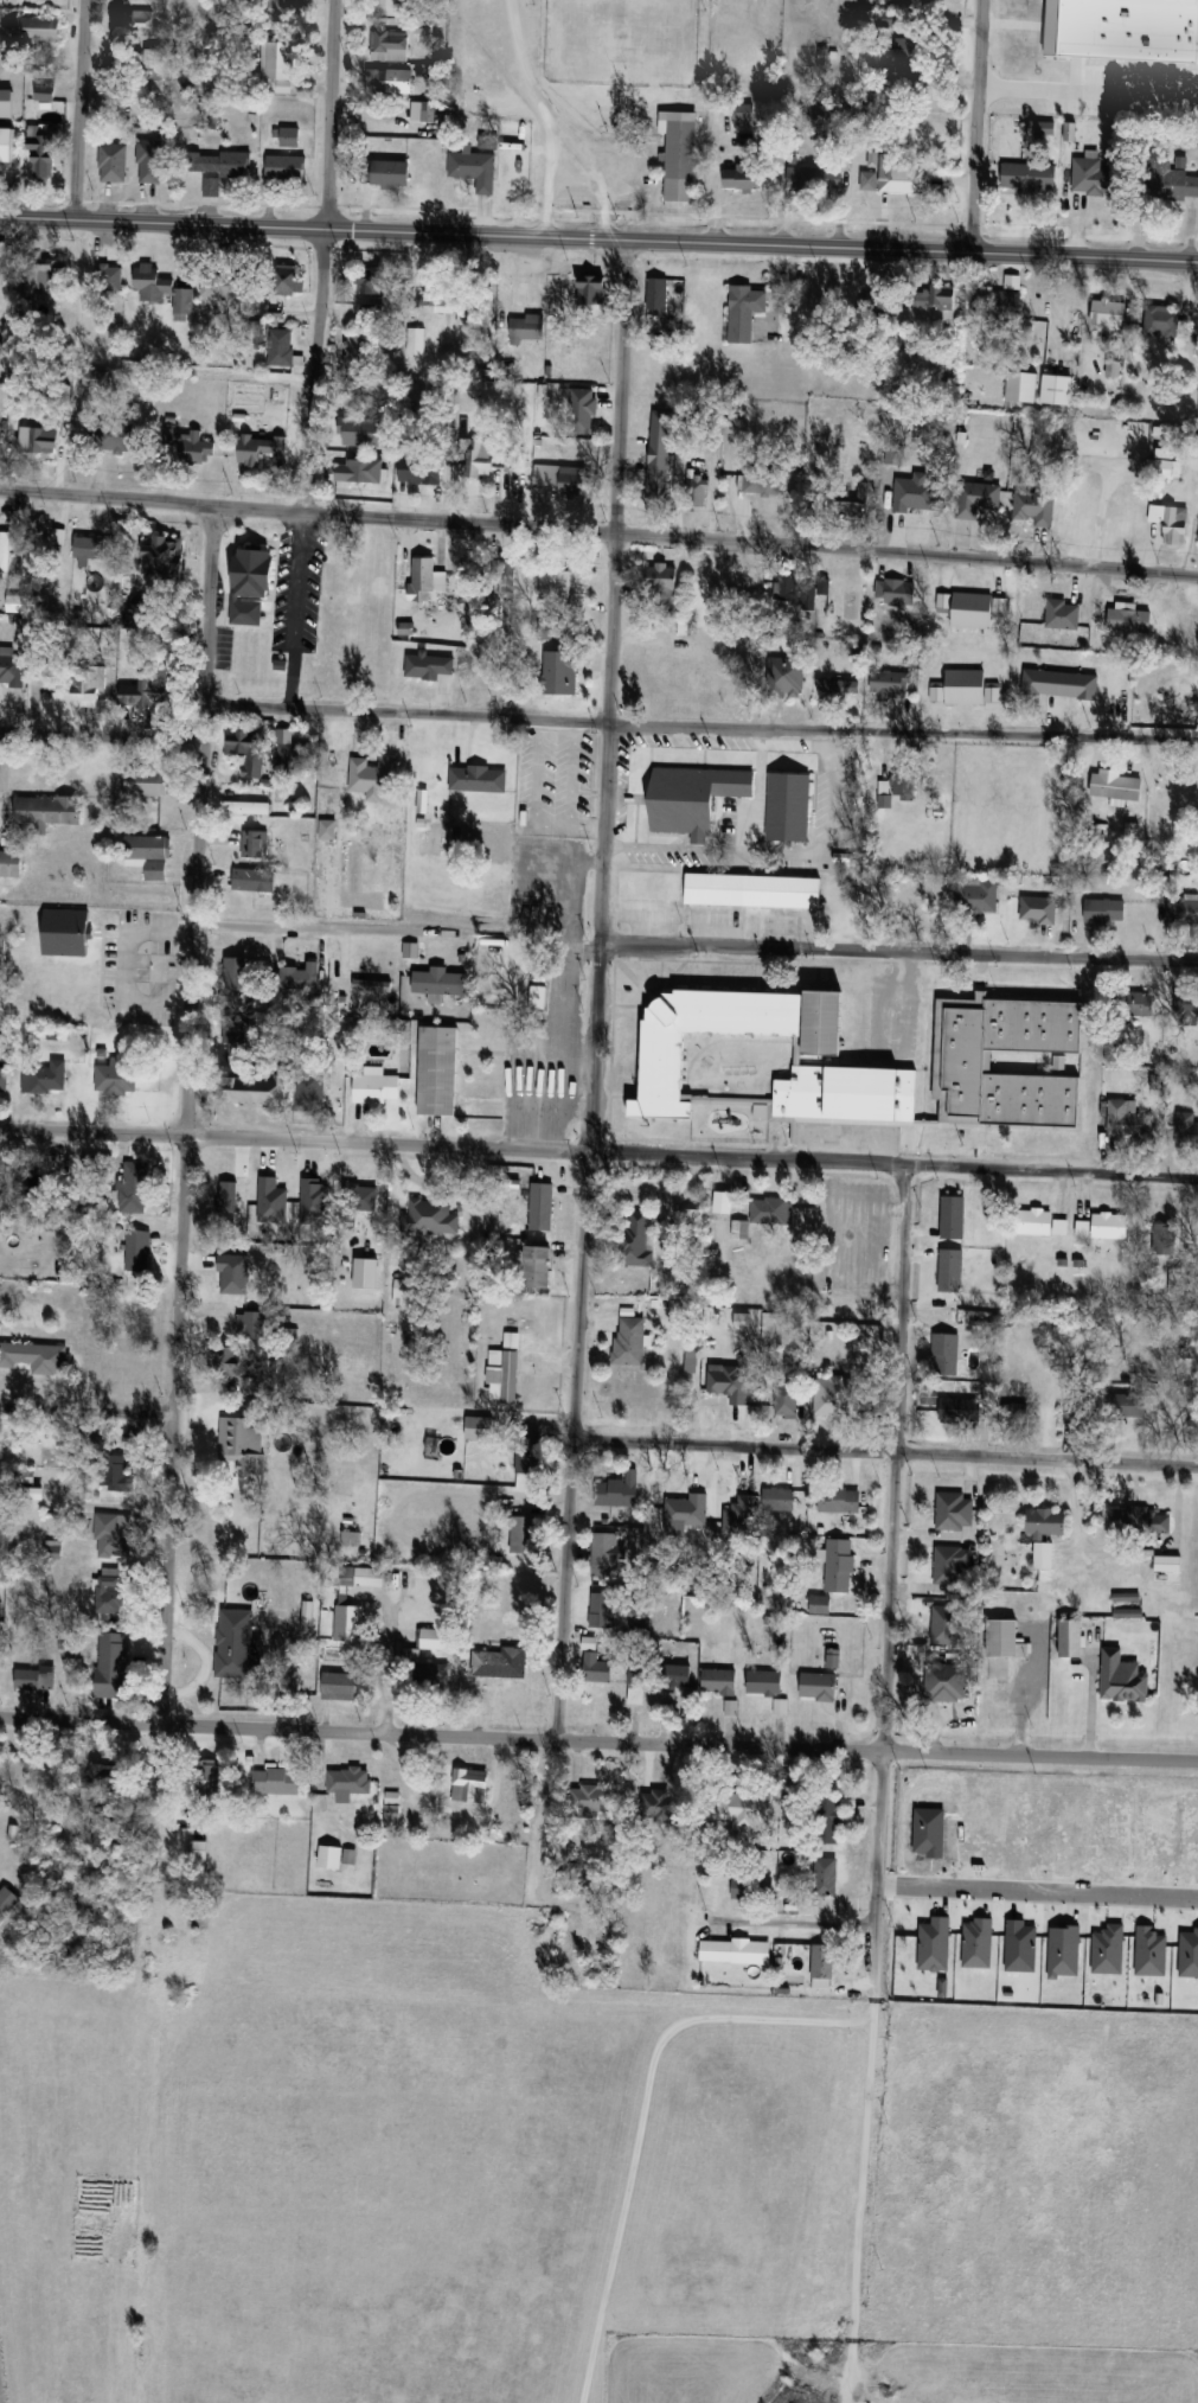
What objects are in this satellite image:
building: (1178, 0)
building: (389, 6)
building: (214, 8)
building: (1167, 12)
building: (280, 13)
building: (884, 19)
building: (143, 24)
building: (38, 28)
building: (390, 45)
building: (277, 60)
building: (909, 63)
building: (385, 81)
road: (532, 88)
building: (46, 92)
road: (1088, 94)
building: (6, 103)
road: (77, 110)
building: (824, 110)
road: (975, 126)
building: (290, 136)
building: (7, 143)
building: (43, 153)
building: (680, 154)
building: (149, 160)
building: (113, 162)
building: (218, 164)
building: (282, 167)
building: (474, 168)
road: (578, 171)
building: (390, 173)
building: (899, 177)
building: (1029, 177)
building: (1094, 177)
building: (741, 178)
building: (808, 179)
building: (867, 180)
building: (1177, 184)
road: (598, 238)
road: (322, 255)
building: (39, 275)
building: (109, 277)
building: (289, 280)
building: (371, 281)
building: (223, 286)
building: (594, 288)
building: (164, 289)
building: (936, 295)
building: (658, 296)
building: (447, 302)
building: (998, 303)
building: (745, 312)
building: (1108, 313)
building: (372, 314)
building: (1162, 321)
building: (527, 328)
building: (416, 341)
building: (281, 347)
building: (357, 356)
building: (23, 386)
building: (1056, 389)
building: (582, 410)
building: (120, 436)
building: (39, 440)
building: (196, 449)
building: (260, 449)
building: (352, 454)
building: (480, 458)
building: (514, 459)
building: (421, 469)
building: (566, 479)
building: (770, 480)
building: (655, 490)
building: (696, 492)
building: (979, 498)
building: (917, 499)
building: (857, 501)
building: (1034, 507)
building: (1170, 524)
road: (598, 530)
building: (88, 547)
building: (5, 555)
building: (164, 556)
building: (429, 574)
building: (504, 579)
building: (662, 582)
building: (252, 584)
building: (903, 593)
building: (995, 593)
building: (799, 594)
building: (139, 611)
building: (1063, 615)
building: (1129, 621)
building: (12, 669)
building: (566, 676)
building: (786, 677)
building: (891, 684)
building: (1042, 684)
building: (81, 686)
building: (147, 686)
building: (837, 686)
road: (595, 722)
building: (254, 755)
building: (372, 774)
building: (479, 778)
building: (904, 780)
building: (147, 781)
building: (1117, 785)
building: (1183, 787)
building: (694, 797)
building: (789, 805)
building: (245, 806)
building: (47, 810)
building: (254, 843)
road: (784, 849)
building: (149, 852)
building: (11, 862)
building: (525, 870)
building: (255, 880)
building: (649, 883)
building: (754, 888)
building: (978, 895)
building: (1038, 909)
building: (1104, 909)
building: (1183, 910)
road: (306, 924)
building: (66, 932)
road: (899, 952)
road: (127, 964)
building: (235, 972)
building: (302, 977)
building: (438, 980)
building: (371, 984)
road: (598, 989)
building: (1185, 1001)
building: (1140, 1002)
building: (235, 1038)
building: (1113, 1053)
building: (666, 1059)
building: (963, 1063)
building: (438, 1068)
building: (116, 1075)
building: (45, 1078)
building: (4, 1079)
building: (376, 1087)
building: (257, 1088)
building: (309, 1089)
road: (186, 1114)
building: (1128, 1119)
road: (598, 1151)
building: (94, 1163)
building: (134, 1187)
building: (364, 1197)
building: (723, 1202)
building: (542, 1206)
building: (773, 1210)
building: (431, 1215)
building: (953, 1216)
building: (1034, 1220)
building: (691, 1222)
building: (1109, 1225)
building: (639, 1235)
building: (1164, 1238)
building: (373, 1244)
building: (137, 1250)
building: (537, 1266)
building: (950, 1270)
building: (408, 1291)
building: (218, 1323)
building: (251, 1323)
building: (630, 1342)
building: (946, 1353)
building: (36, 1356)
building: (229, 1360)
building: (511, 1368)
building: (833, 1389)
building: (728, 1391)
building: (786, 1398)
building: (1130, 1405)
building: (953, 1410)
road: (85, 1411)
building: (1078, 1415)
building: (478, 1427)
building: (241, 1445)
road: (885, 1451)
building: (117, 1475)
building: (617, 1490)
building: (779, 1498)
building: (840, 1500)
building: (954, 1510)
building: (1128, 1520)
building: (1046, 1522)
building: (524, 1534)
building: (114, 1535)
building: (604, 1554)
building: (1043, 1555)
building: (839, 1565)
building: (952, 1567)
building: (1167, 1568)
building: (369, 1576)
road: (889, 1579)
building: (110, 1590)
building: (820, 1604)
building: (601, 1609)
building: (1128, 1613)
building: (641, 1621)
building: (348, 1623)
building: (946, 1625)
building: (1070, 1637)
building: (435, 1638)
building: (1006, 1640)
building: (236, 1647)
road: (199, 1662)
road: (389, 1662)
building: (500, 1662)
building: (115, 1666)
building: (596, 1667)
building: (679, 1675)
building: (428, 1676)
building: (34, 1677)
building: (1123, 1677)
building: (638, 1681)
building: (719, 1681)
building: (944, 1681)
building: (764, 1682)
building: (340, 1686)
building: (818, 1686)
road: (598, 1740)
building: (105, 1779)
building: (277, 1781)
building: (350, 1781)
building: (469, 1785)
building: (595, 1798)
building: (391, 1809)
building: (745, 1811)
building: (827, 1820)
building: (198, 1853)
building: (335, 1856)
building: (826, 1875)
building: (752, 1887)
road: (1038, 1888)
building: (6, 1902)
building: (809, 1906)
road: (796, 1921)
building: (735, 1951)
building: (822, 1964)

